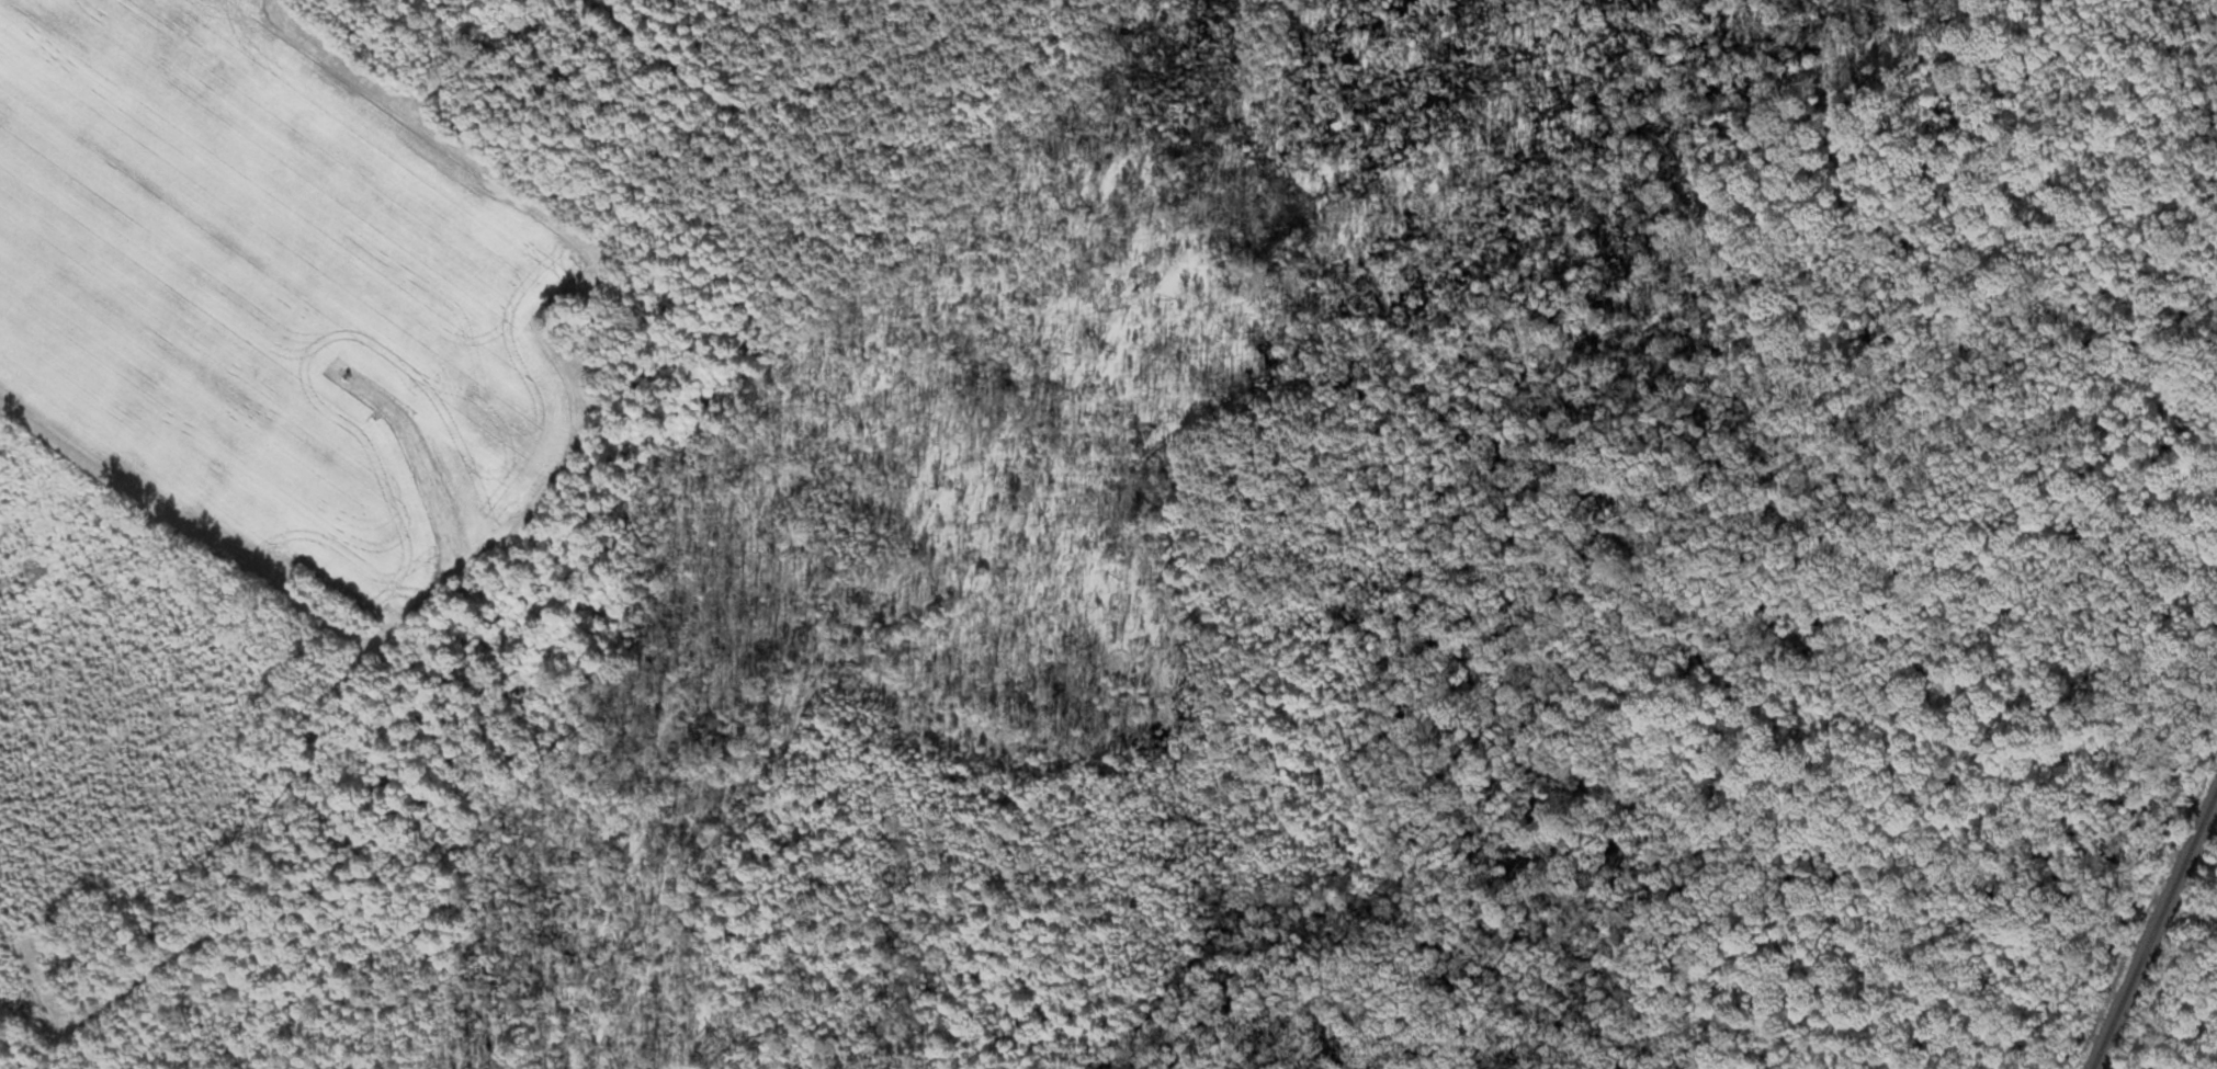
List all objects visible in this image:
railway: (2154, 930)

